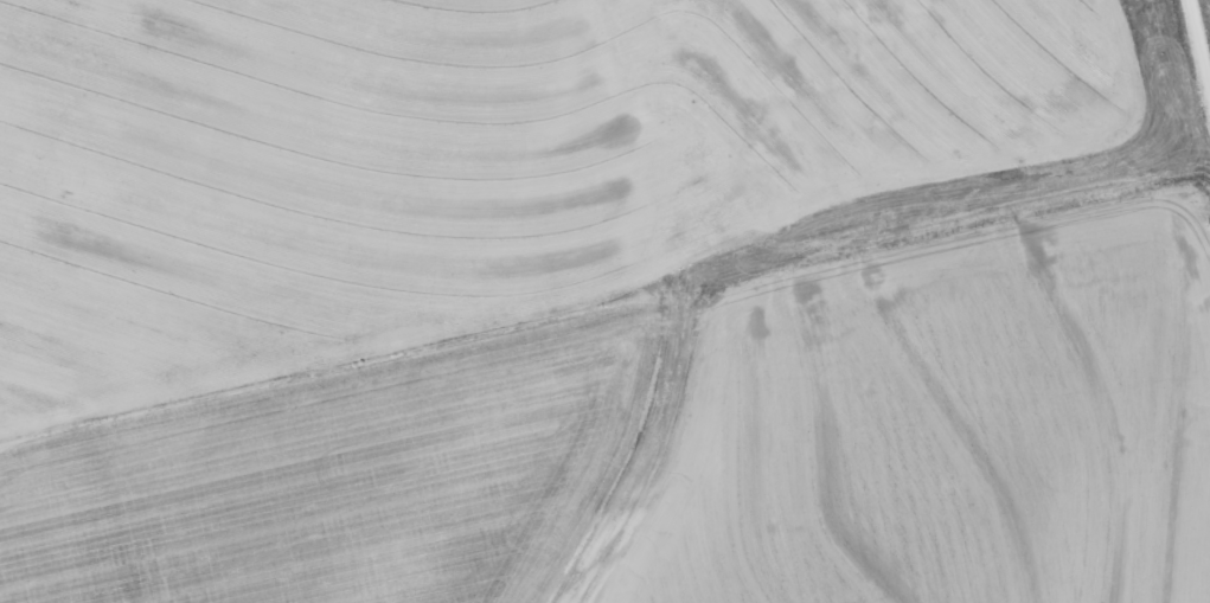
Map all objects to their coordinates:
road: (1199, 43)

